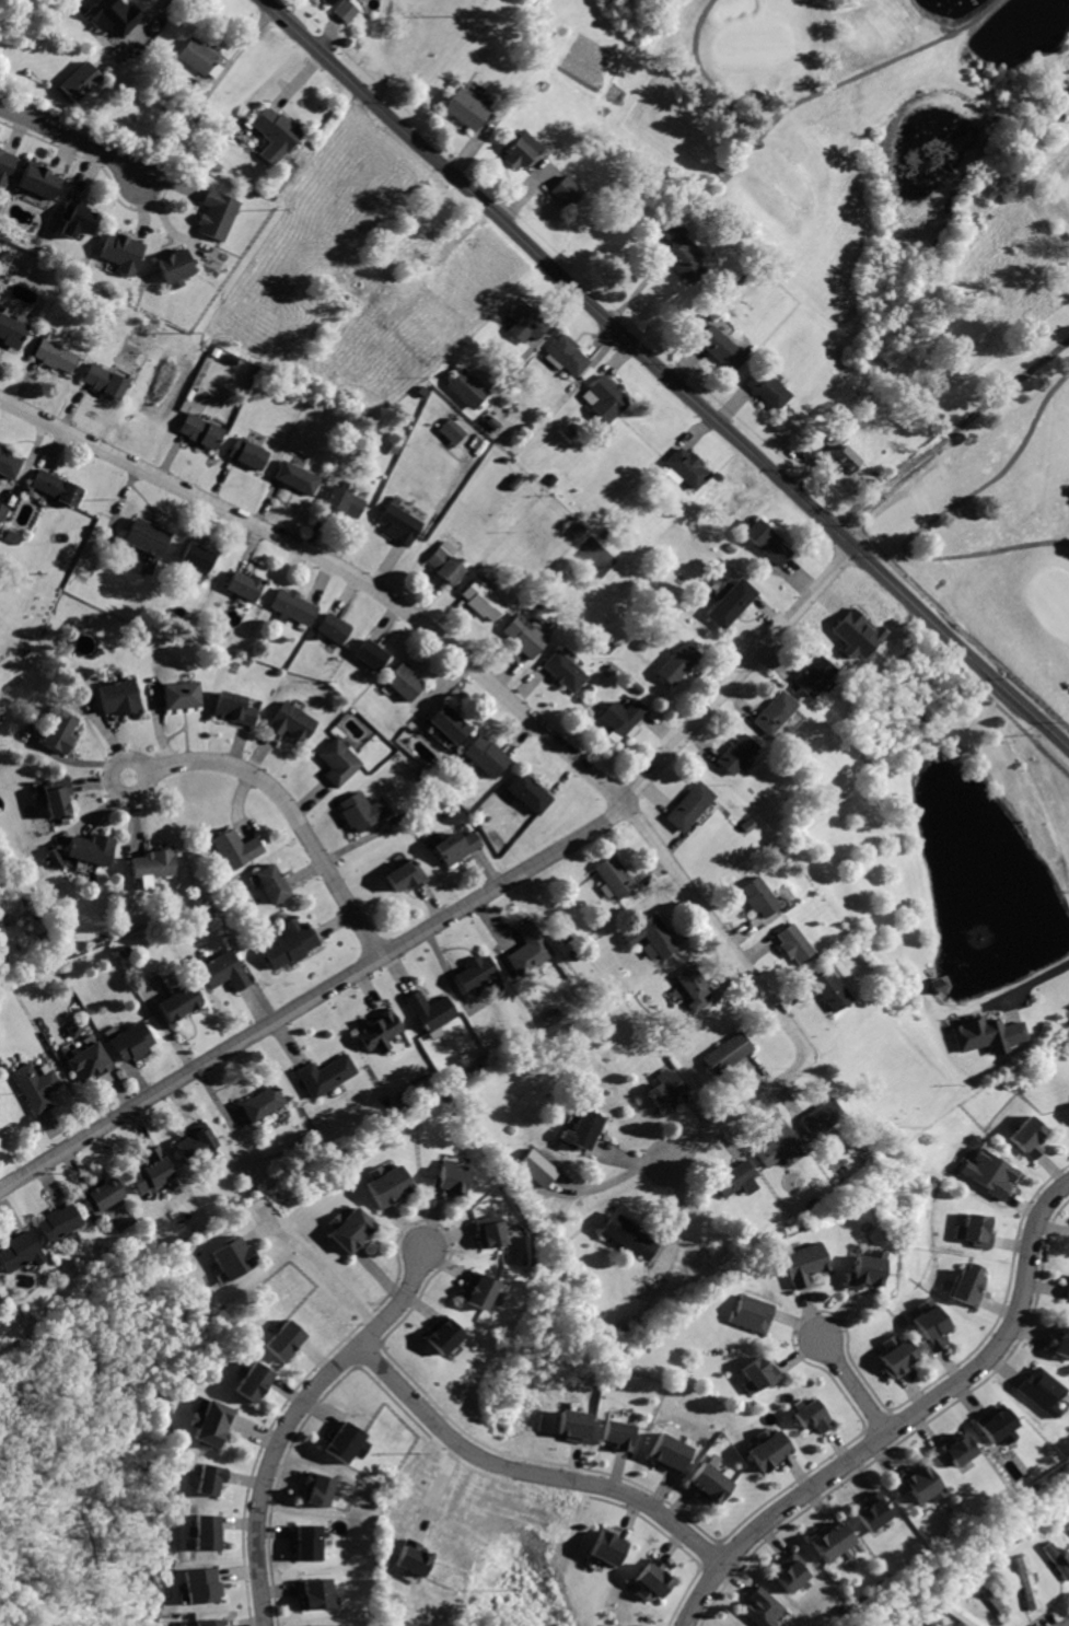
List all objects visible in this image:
building: (325, 2)
building: (342, 11)
building: (113, 16)
road: (130, 39)
park: (757, 46)
road: (233, 56)
building: (194, 57)
road: (702, 74)
road: (850, 78)
building: (78, 81)
road: (294, 82)
building: (188, 111)
building: (465, 111)
building: (274, 136)
road: (72, 139)
building: (518, 150)
building: (4, 167)
building: (36, 182)
building: (563, 193)
building: (213, 214)
building: (73, 219)
road: (448, 246)
building: (678, 251)
building: (120, 255)
park: (907, 266)
building: (172, 268)
building: (523, 322)
building: (11, 330)
road: (534, 344)
building: (718, 346)
building: (54, 355)
building: (565, 356)
road: (665, 373)
building: (105, 380)
building: (465, 388)
building: (766, 390)
building: (420, 392)
road: (1002, 393)
building: (605, 398)
building: (198, 429)
building: (450, 430)
building: (246, 454)
building: (844, 461)
building: (8, 464)
building: (685, 467)
building: (293, 477)
building: (56, 488)
road: (885, 488)
building: (342, 502)
building: (2, 511)
building: (398, 521)
road: (930, 523)
building: (147, 537)
building: (764, 541)
building: (196, 558)
building: (443, 562)
road: (336, 565)
building: (243, 584)
park: (1055, 599)
building: (484, 601)
building: (730, 603)
building: (291, 605)
building: (332, 628)
building: (858, 635)
building: (524, 636)
building: (369, 654)
building: (675, 665)
building: (563, 672)
building: (811, 674)
road: (740, 677)
building: (402, 682)
building: (179, 694)
building: (121, 697)
building: (233, 708)
building: (771, 713)
building: (621, 716)
building: (290, 723)
building: (450, 724)
building: (60, 731)
building: (734, 756)
building: (485, 757)
building: (339, 762)
building: (527, 793)
building: (58, 795)
road: (289, 806)
building: (688, 806)
building: (362, 811)
building: (455, 847)
building: (235, 848)
building: (93, 849)
building: (56, 857)
building: (155, 863)
building: (406, 875)
building: (613, 880)
building: (270, 882)
building: (760, 901)
fountain: (984, 934)
building: (648, 937)
building: (291, 942)
building: (792, 944)
building: (528, 949)
building: (221, 971)
building: (475, 974)
building: (693, 986)
road: (1023, 987)
building: (828, 989)
road: (314, 997)
road: (770, 998)
building: (179, 1002)
building: (430, 1011)
building: (75, 1027)
building: (381, 1031)
building: (987, 1034)
building: (131, 1044)
building: (727, 1054)
building: (86, 1060)
building: (324, 1076)
building: (666, 1089)
building: (34, 1090)
building: (260, 1103)
building: (818, 1117)
building: (584, 1129)
building: (1026, 1137)
building: (194, 1145)
building: (776, 1147)
road: (616, 1153)
building: (537, 1169)
building: (150, 1172)
building: (990, 1173)
building: (735, 1180)
building: (446, 1182)
road: (613, 1182)
building: (387, 1185)
building: (97, 1195)
road: (679, 1219)
building: (55, 1222)
building: (348, 1229)
building: (487, 1230)
building: (976, 1231)
building: (627, 1235)
building: (16, 1251)
building: (233, 1255)
road: (316, 1263)
building: (802, 1263)
building: (860, 1268)
building: (967, 1284)
building: (1065, 1291)
building: (478, 1292)
building: (750, 1314)
building: (929, 1325)
building: (440, 1335)
building: (284, 1340)
building: (1058, 1343)
building: (894, 1356)
building: (756, 1374)
building: (253, 1383)
road: (855, 1387)
building: (1038, 1391)
road: (293, 1418)
building: (813, 1418)
building: (210, 1422)
road: (906, 1422)
building: (574, 1425)
building: (998, 1427)
building: (619, 1433)
building: (342, 1443)
building: (766, 1451)
building: (953, 1451)
building: (671, 1452)
road: (531, 1475)
building: (209, 1478)
building: (710, 1484)
building: (918, 1486)
building: (319, 1489)
building: (871, 1510)
building: (205, 1533)
building: (310, 1542)
building: (832, 1544)
building: (605, 1548)
building: (409, 1558)
building: (1058, 1559)
building: (791, 1571)
building: (1029, 1581)
building: (652, 1582)
building: (204, 1586)
building: (318, 1594)
building: (994, 1599)
building: (764, 1608)
building: (963, 1615)
building: (209, 1623)
building: (334, 1625)

